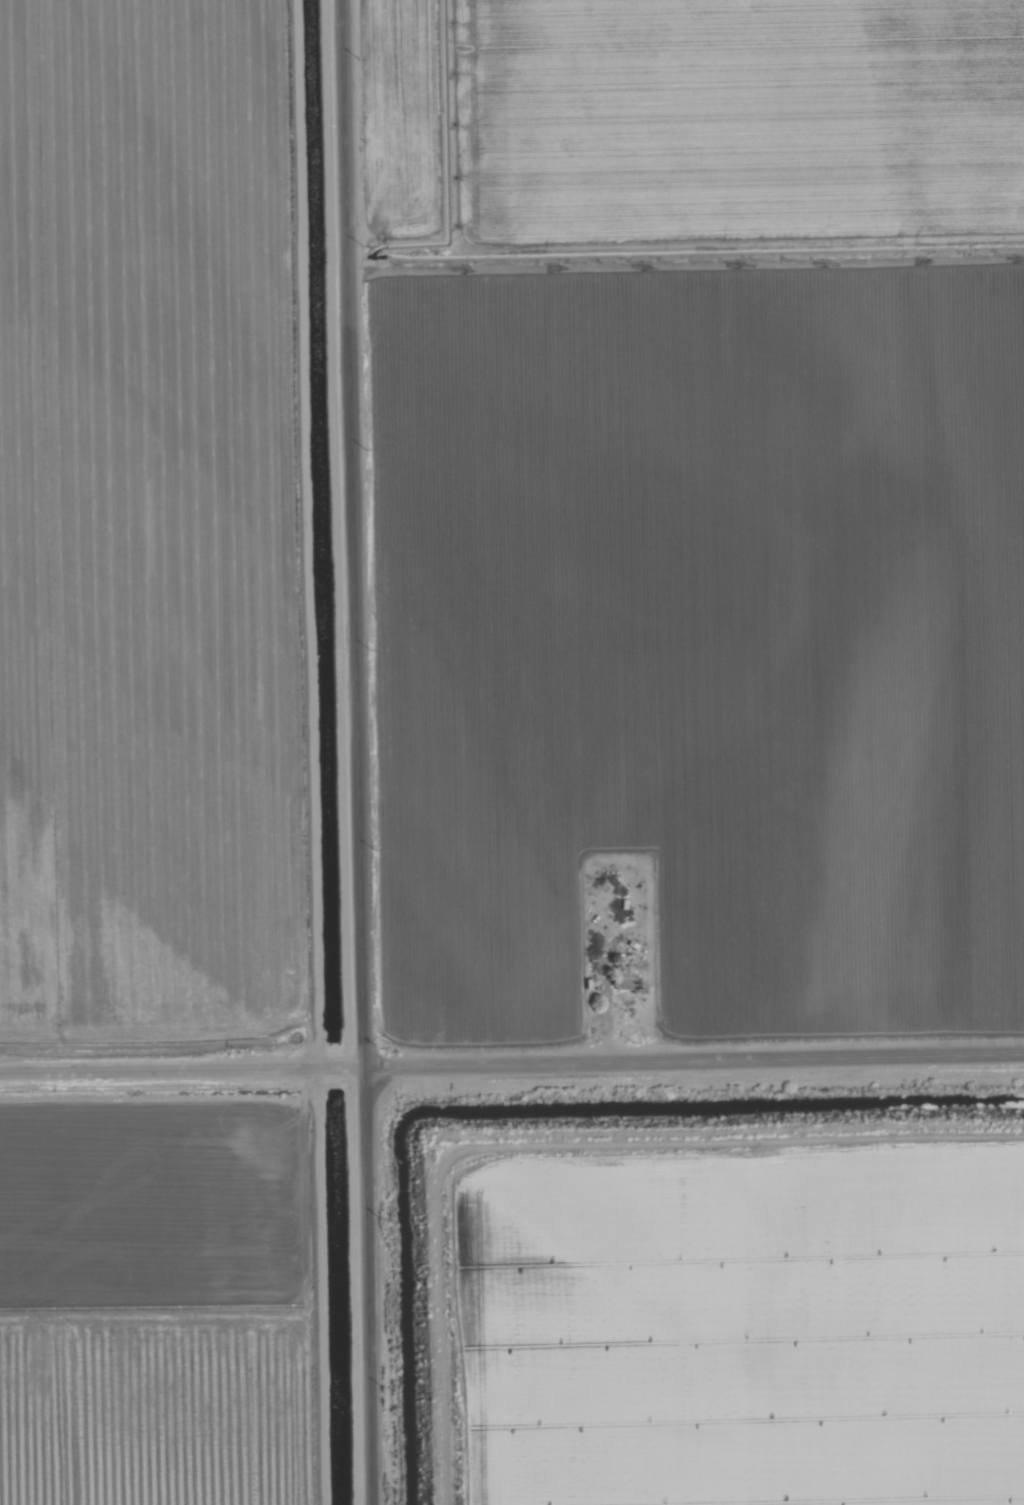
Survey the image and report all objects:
road: (356, 752)
building: (625, 978)
road: (511, 1071)

